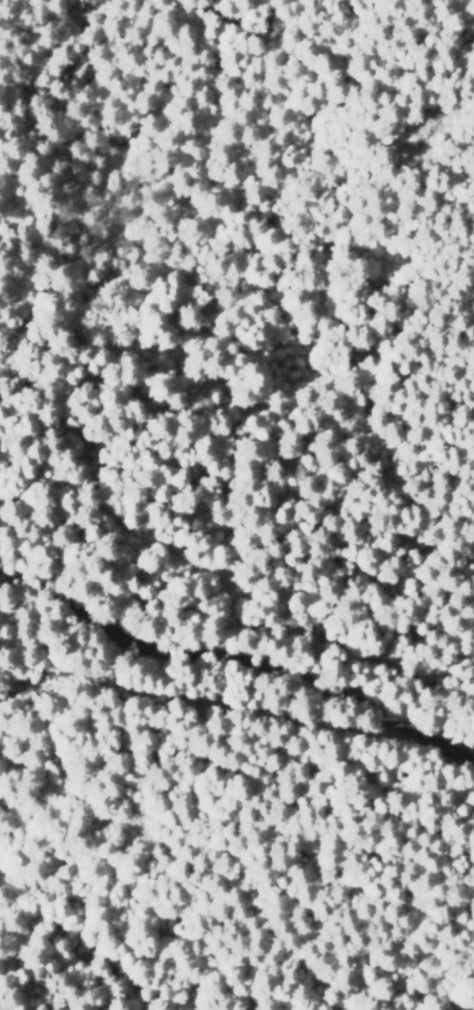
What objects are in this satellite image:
road: (238, 651)

